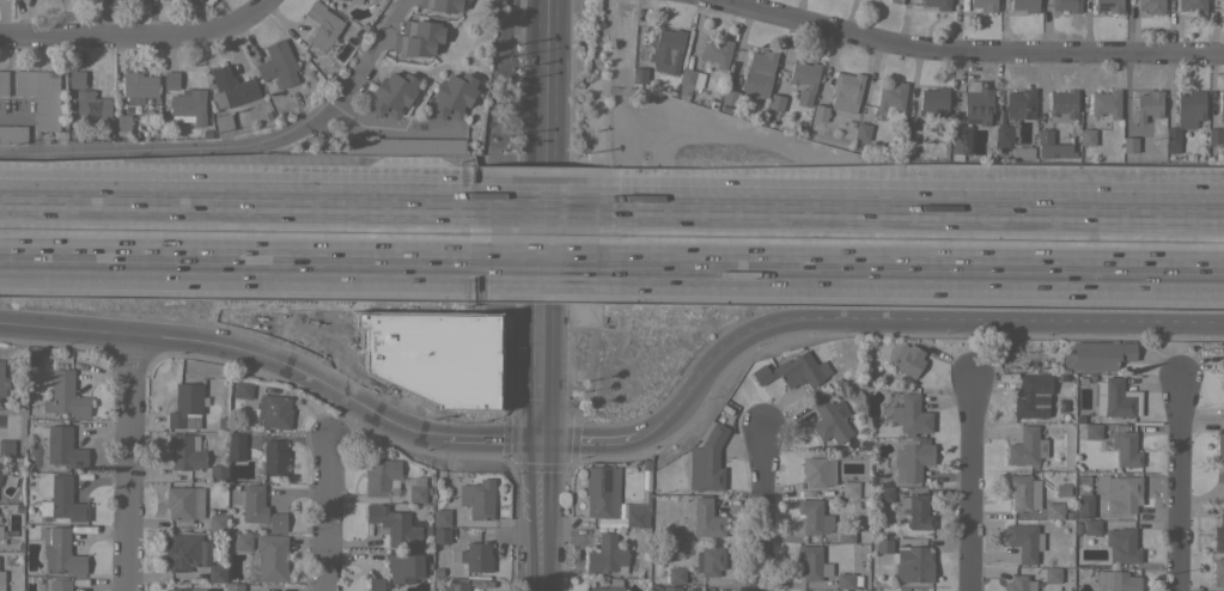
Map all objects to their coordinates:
road: (270, 0)
building: (354, 1)
building: (894, 1)
building: (937, 4)
building: (443, 5)
building: (984, 5)
building: (1024, 5)
building: (1066, 5)
building: (1108, 5)
building: (1222, 5)
building: (1151, 6)
building: (1192, 6)
building: (322, 25)
road: (547, 30)
road: (140, 37)
building: (419, 37)
building: (666, 50)
building: (715, 51)
road: (966, 53)
building: (278, 65)
building: (639, 75)
building: (757, 75)
building: (690, 78)
building: (77, 79)
building: (170, 80)
building: (804, 80)
building: (4, 83)
building: (138, 86)
building: (231, 87)
building: (846, 91)
building: (391, 95)
building: (41, 96)
building: (451, 96)
building: (890, 96)
building: (729, 97)
building: (933, 99)
building: (775, 102)
building: (1106, 103)
building: (976, 104)
building: (1019, 104)
building: (91, 105)
building: (1062, 105)
building: (1146, 105)
building: (188, 106)
building: (820, 112)
building: (1185, 117)
building: (1222, 121)
building: (223, 122)
building: (123, 123)
building: (911, 129)
building: (861, 132)
building: (13, 134)
building: (1086, 134)
building: (1003, 135)
building: (960, 139)
rooftop solar panel: (966, 139)
building: (402, 145)
road: (546, 146)
building: (1052, 146)
building: (1129, 146)
road: (236, 150)
building: (1022, 152)
road: (245, 201)
road: (544, 205)
road: (912, 211)
railway: (611, 237)
road: (245, 256)
road: (544, 258)
road: (911, 263)
road: (906, 323)
road: (317, 328)
road: (542, 339)
road: (223, 348)
building: (1223, 354)
building: (1097, 355)
building: (907, 360)
building: (793, 371)
building: (2, 379)
building: (1223, 380)
building: (242, 388)
building: (65, 395)
building: (1031, 395)
building: (1116, 398)
building: (185, 406)
building: (274, 410)
building: (908, 415)
building: (829, 419)
building: (1091, 431)
road: (482, 441)
road: (587, 445)
building: (1219, 445)
building: (62, 446)
building: (235, 446)
building: (1025, 446)
building: (6, 447)
building: (1125, 449)
building: (185, 451)
building: (274, 458)
building: (707, 461)
building: (912, 461)
road: (130, 463)
building: (0, 468)
building: (818, 470)
building: (218, 473)
building: (1218, 473)
building: (382, 476)
rooftop solar panel: (605, 480)
road: (969, 483)
road: (1179, 485)
building: (850, 486)
building: (418, 489)
building: (1061, 489)
building: (602, 491)
building: (1022, 492)
building: (1120, 492)
building: (884, 494)
building: (475, 499)
building: (66, 500)
building: (183, 505)
building: (1084, 505)
building: (256, 506)
road: (760, 508)
building: (1054, 510)
building: (917, 511)
building: (638, 512)
road: (325, 517)
building: (814, 517)
building: (442, 518)
road: (540, 518)
building: (706, 518)
building: (217, 524)
building: (394, 525)
building: (0, 531)
building: (442, 535)
building: (845, 535)
building: (1219, 535)
building: (242, 541)
building: (1024, 541)
building: (1114, 542)
building: (60, 552)
building: (190, 555)
building: (607, 555)
building: (476, 556)
building: (269, 559)
building: (710, 560)
building: (907, 561)
building: (812, 562)
building: (404, 567)
building: (1218, 572)
building: (676, 574)
building: (1052, 574)
building: (1, 580)
building: (845, 580)
building: (1116, 580)
building: (1019, 583)
building: (60, 584)
building: (376, 584)
building: (456, 584)
building: (233, 586)
building: (605, 587)
building: (671, 589)
building: (184, 590)

